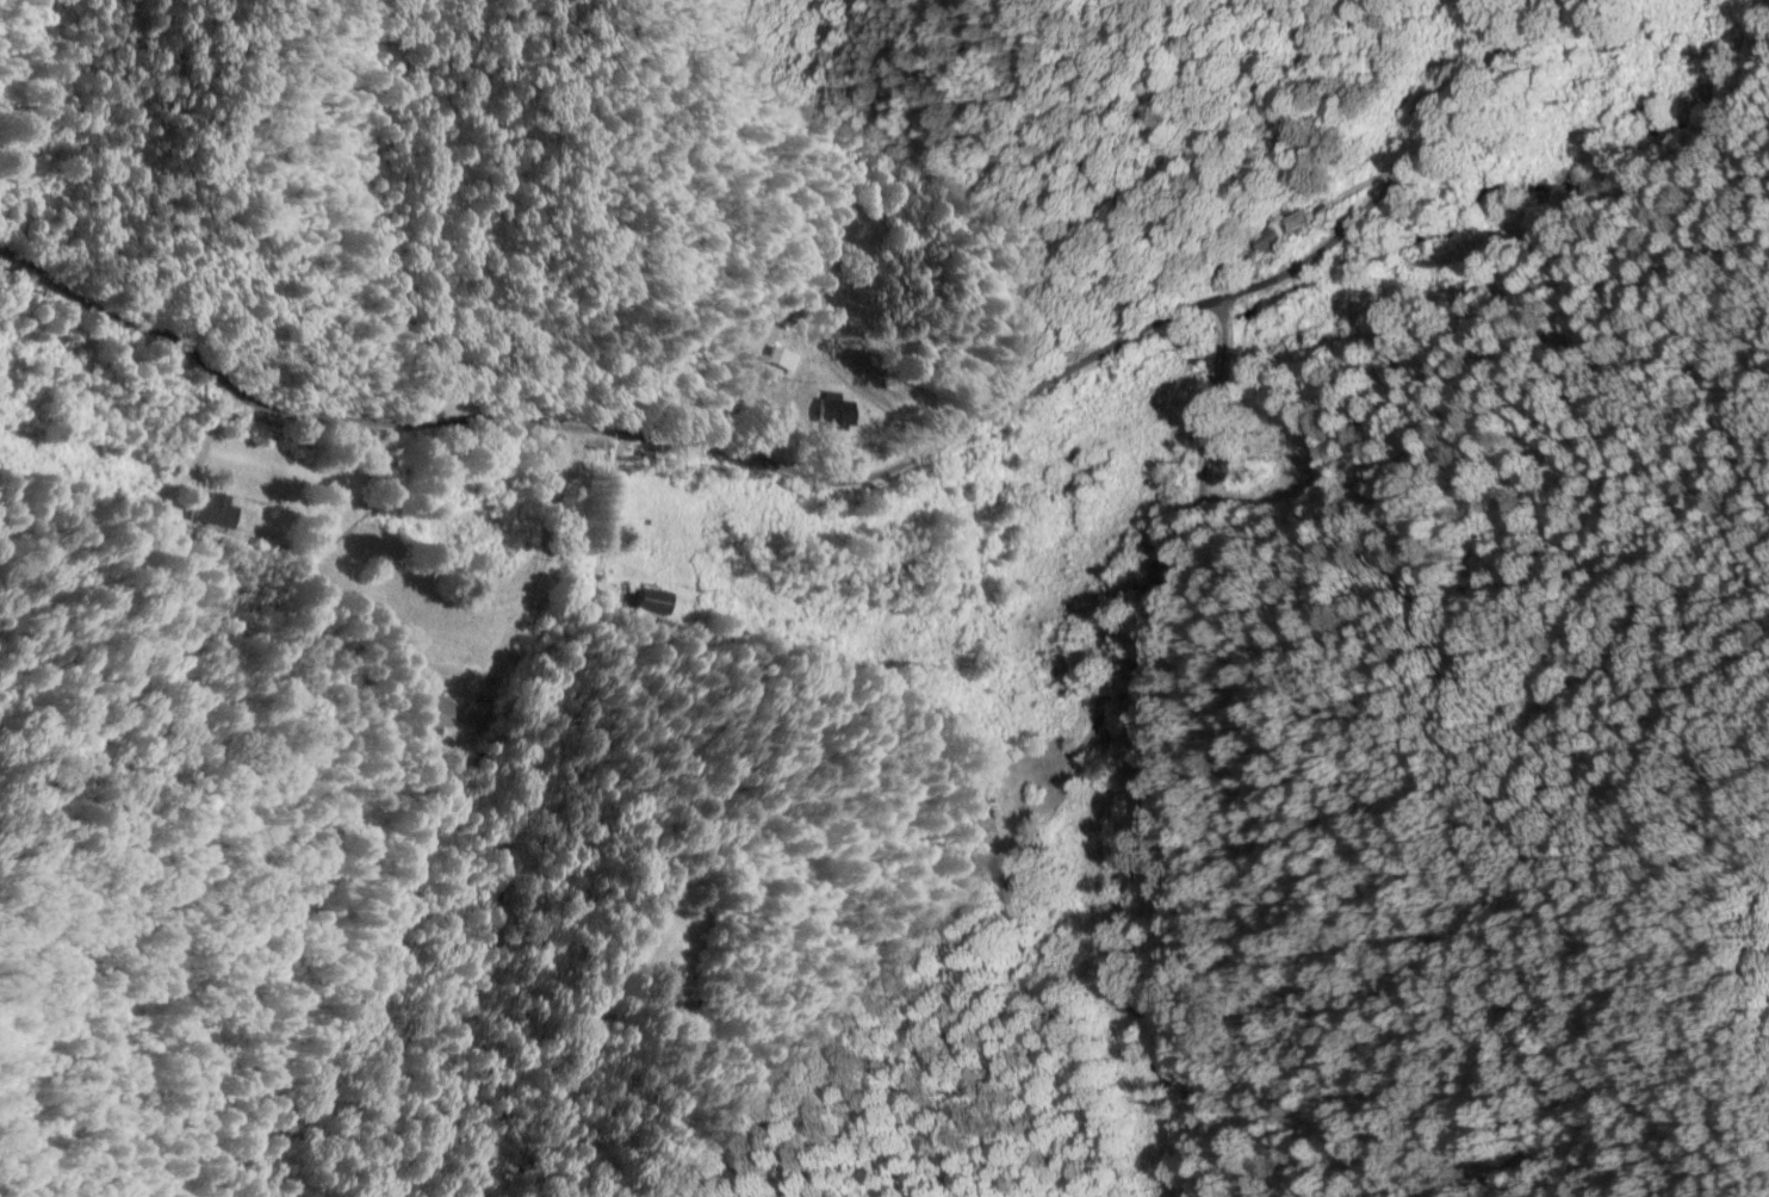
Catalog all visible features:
building: (1265, 238)
building: (832, 413)
road: (823, 477)
building: (648, 603)
building: (472, 721)
road: (1147, 748)
building: (983, 836)
building: (1006, 904)

